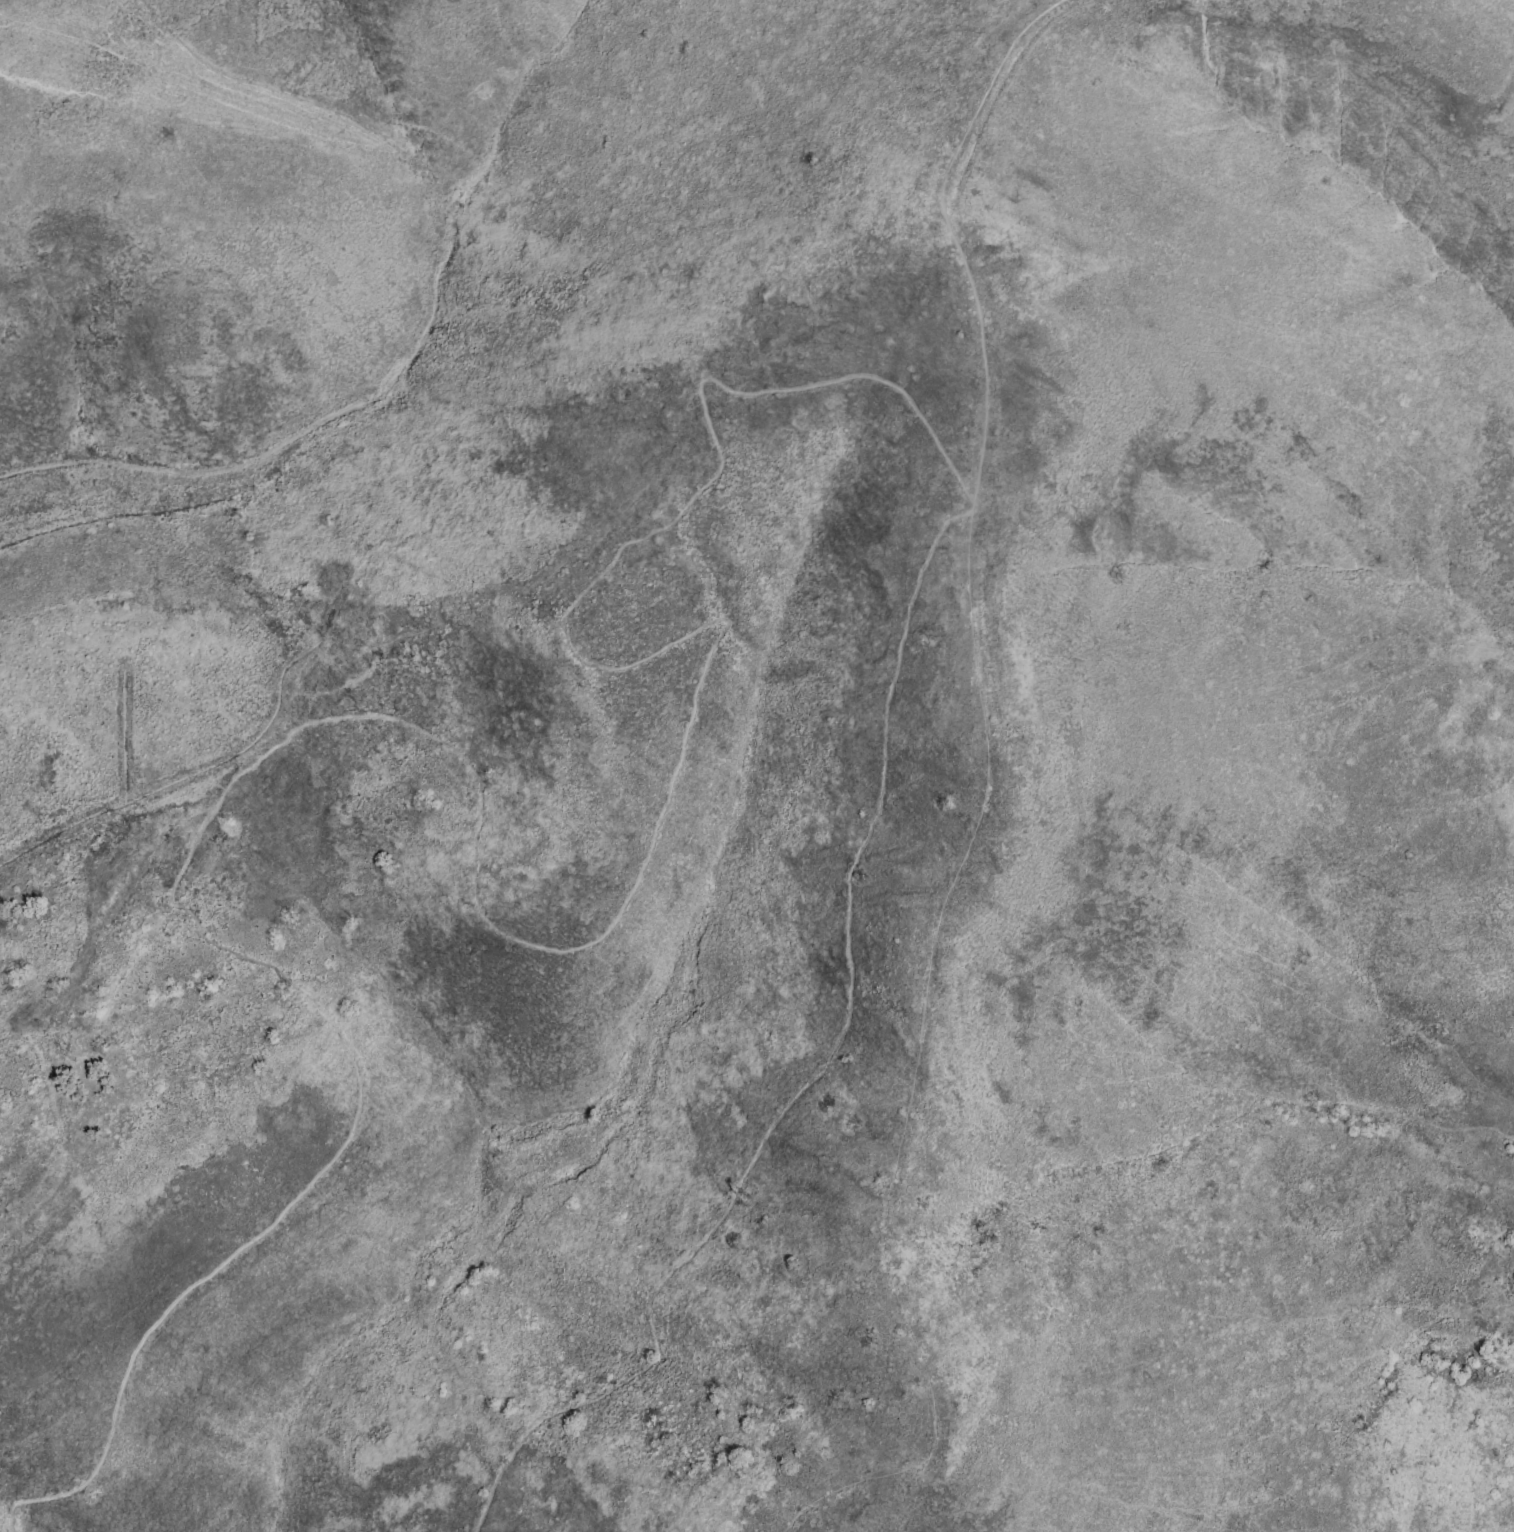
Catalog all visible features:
road: (950, 236)
road: (471, 887)
road: (917, 1064)

